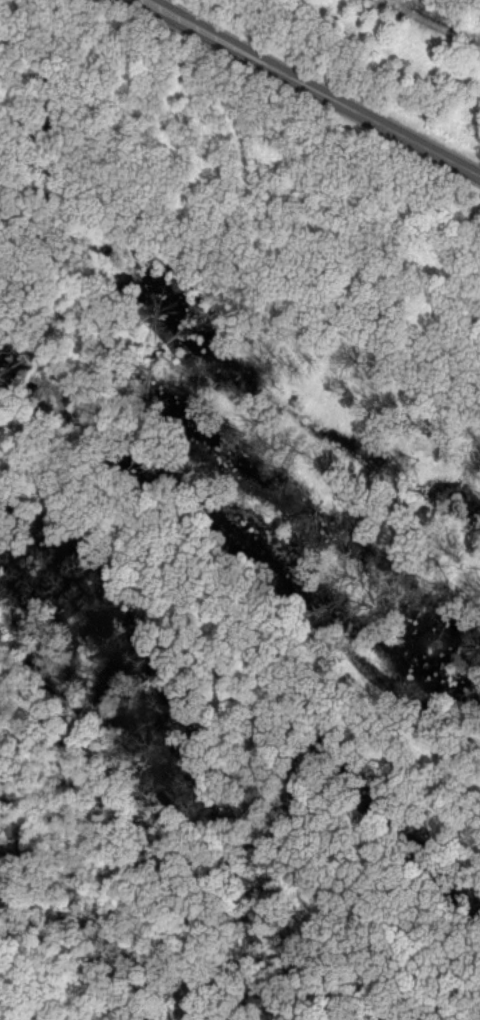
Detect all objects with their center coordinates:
road: (312, 87)

